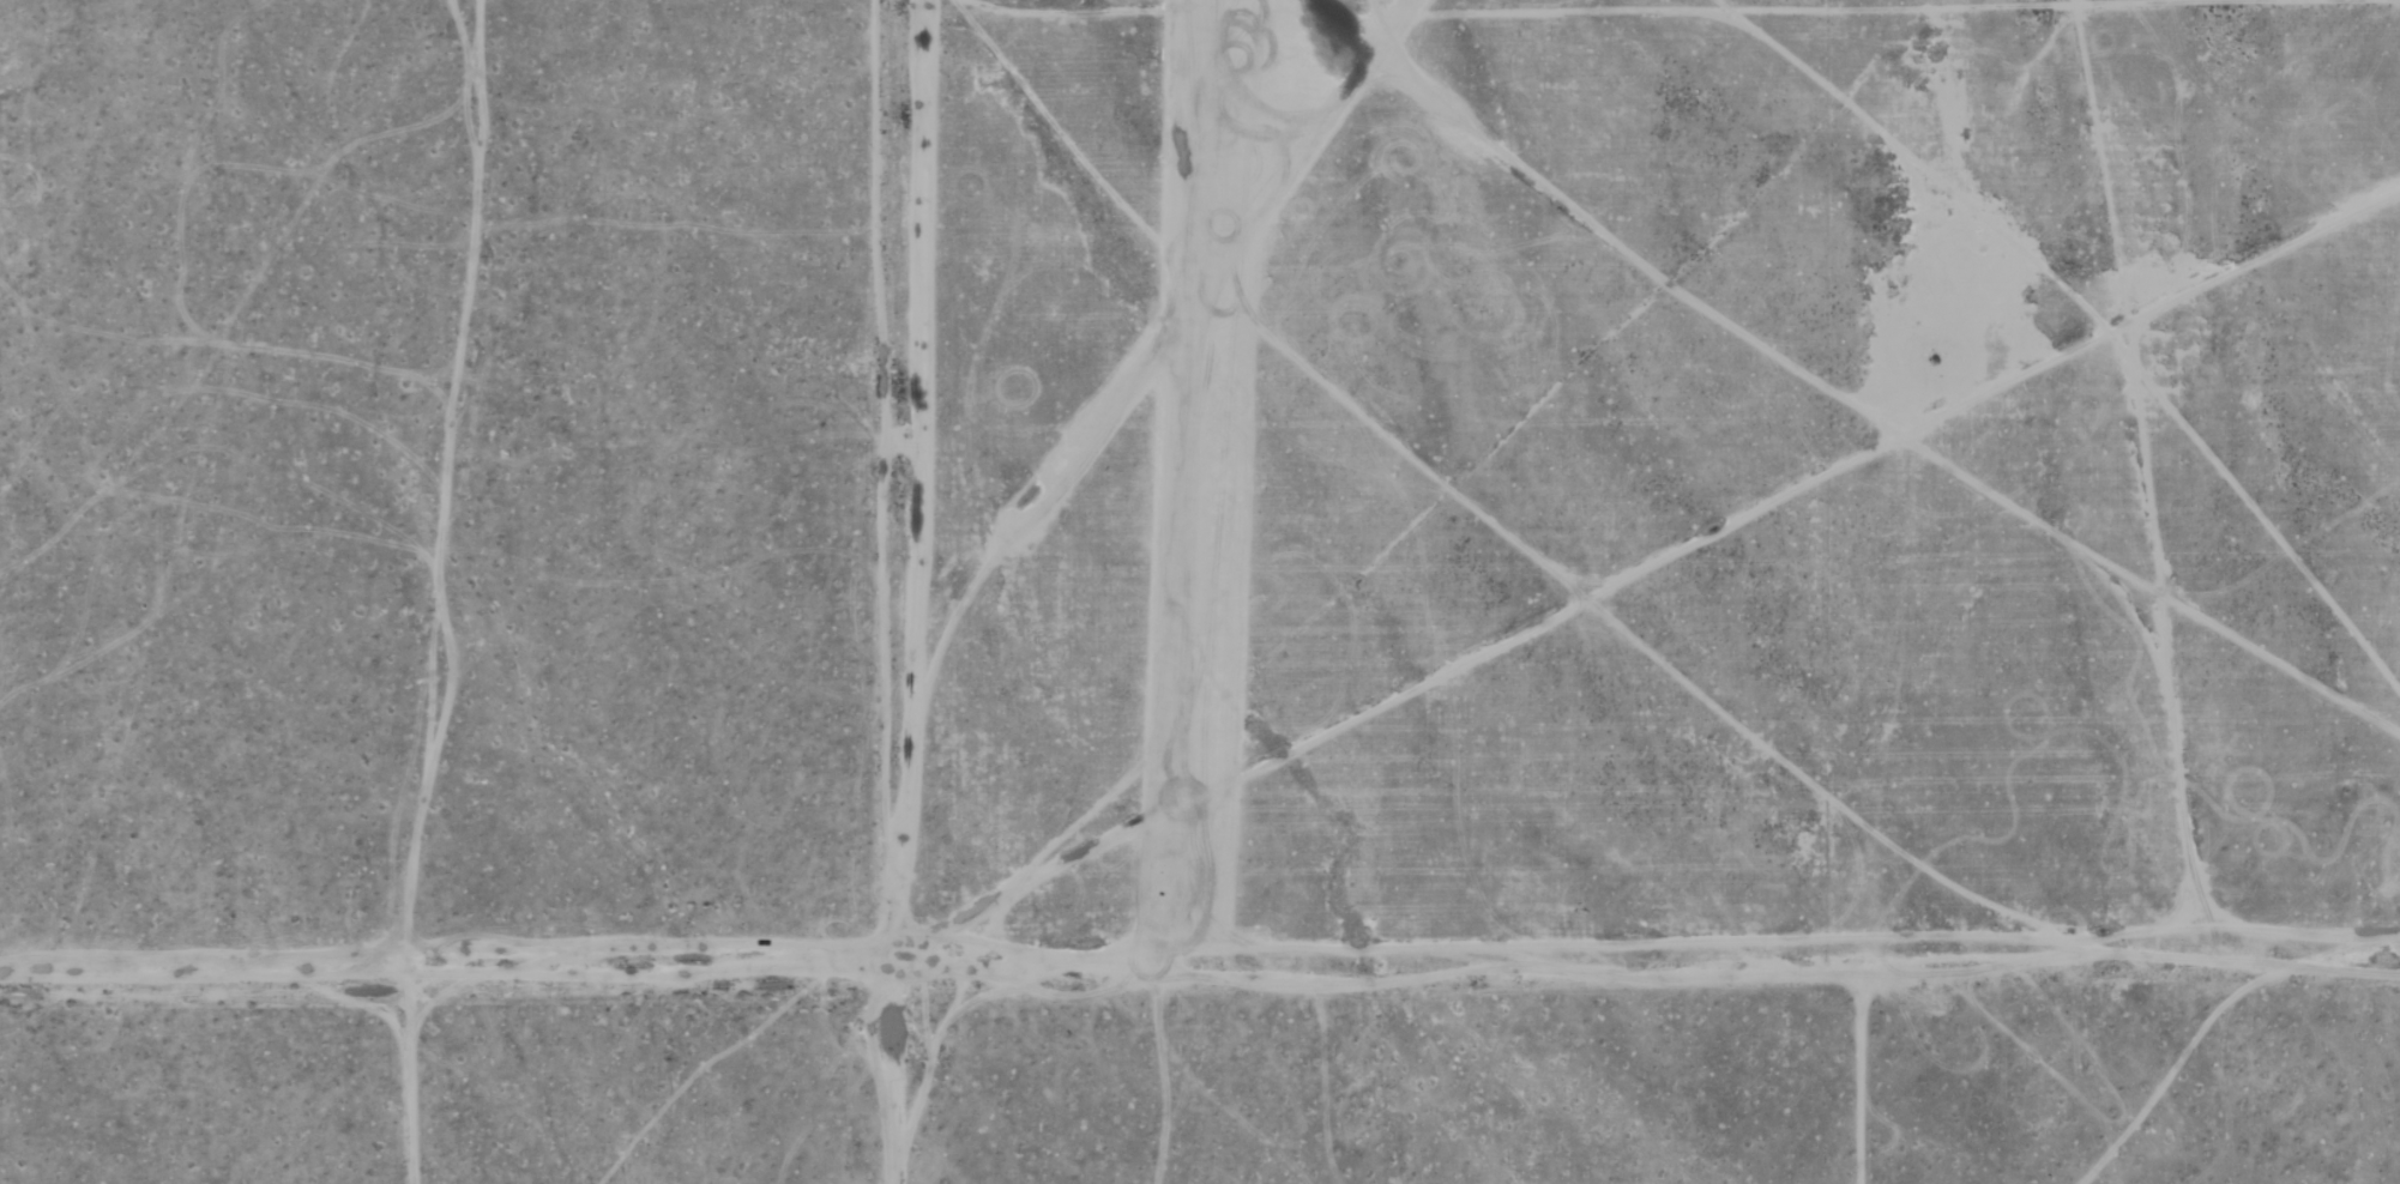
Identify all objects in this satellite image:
road: (912, 591)
road: (1199, 965)
road: (1861, 1073)

